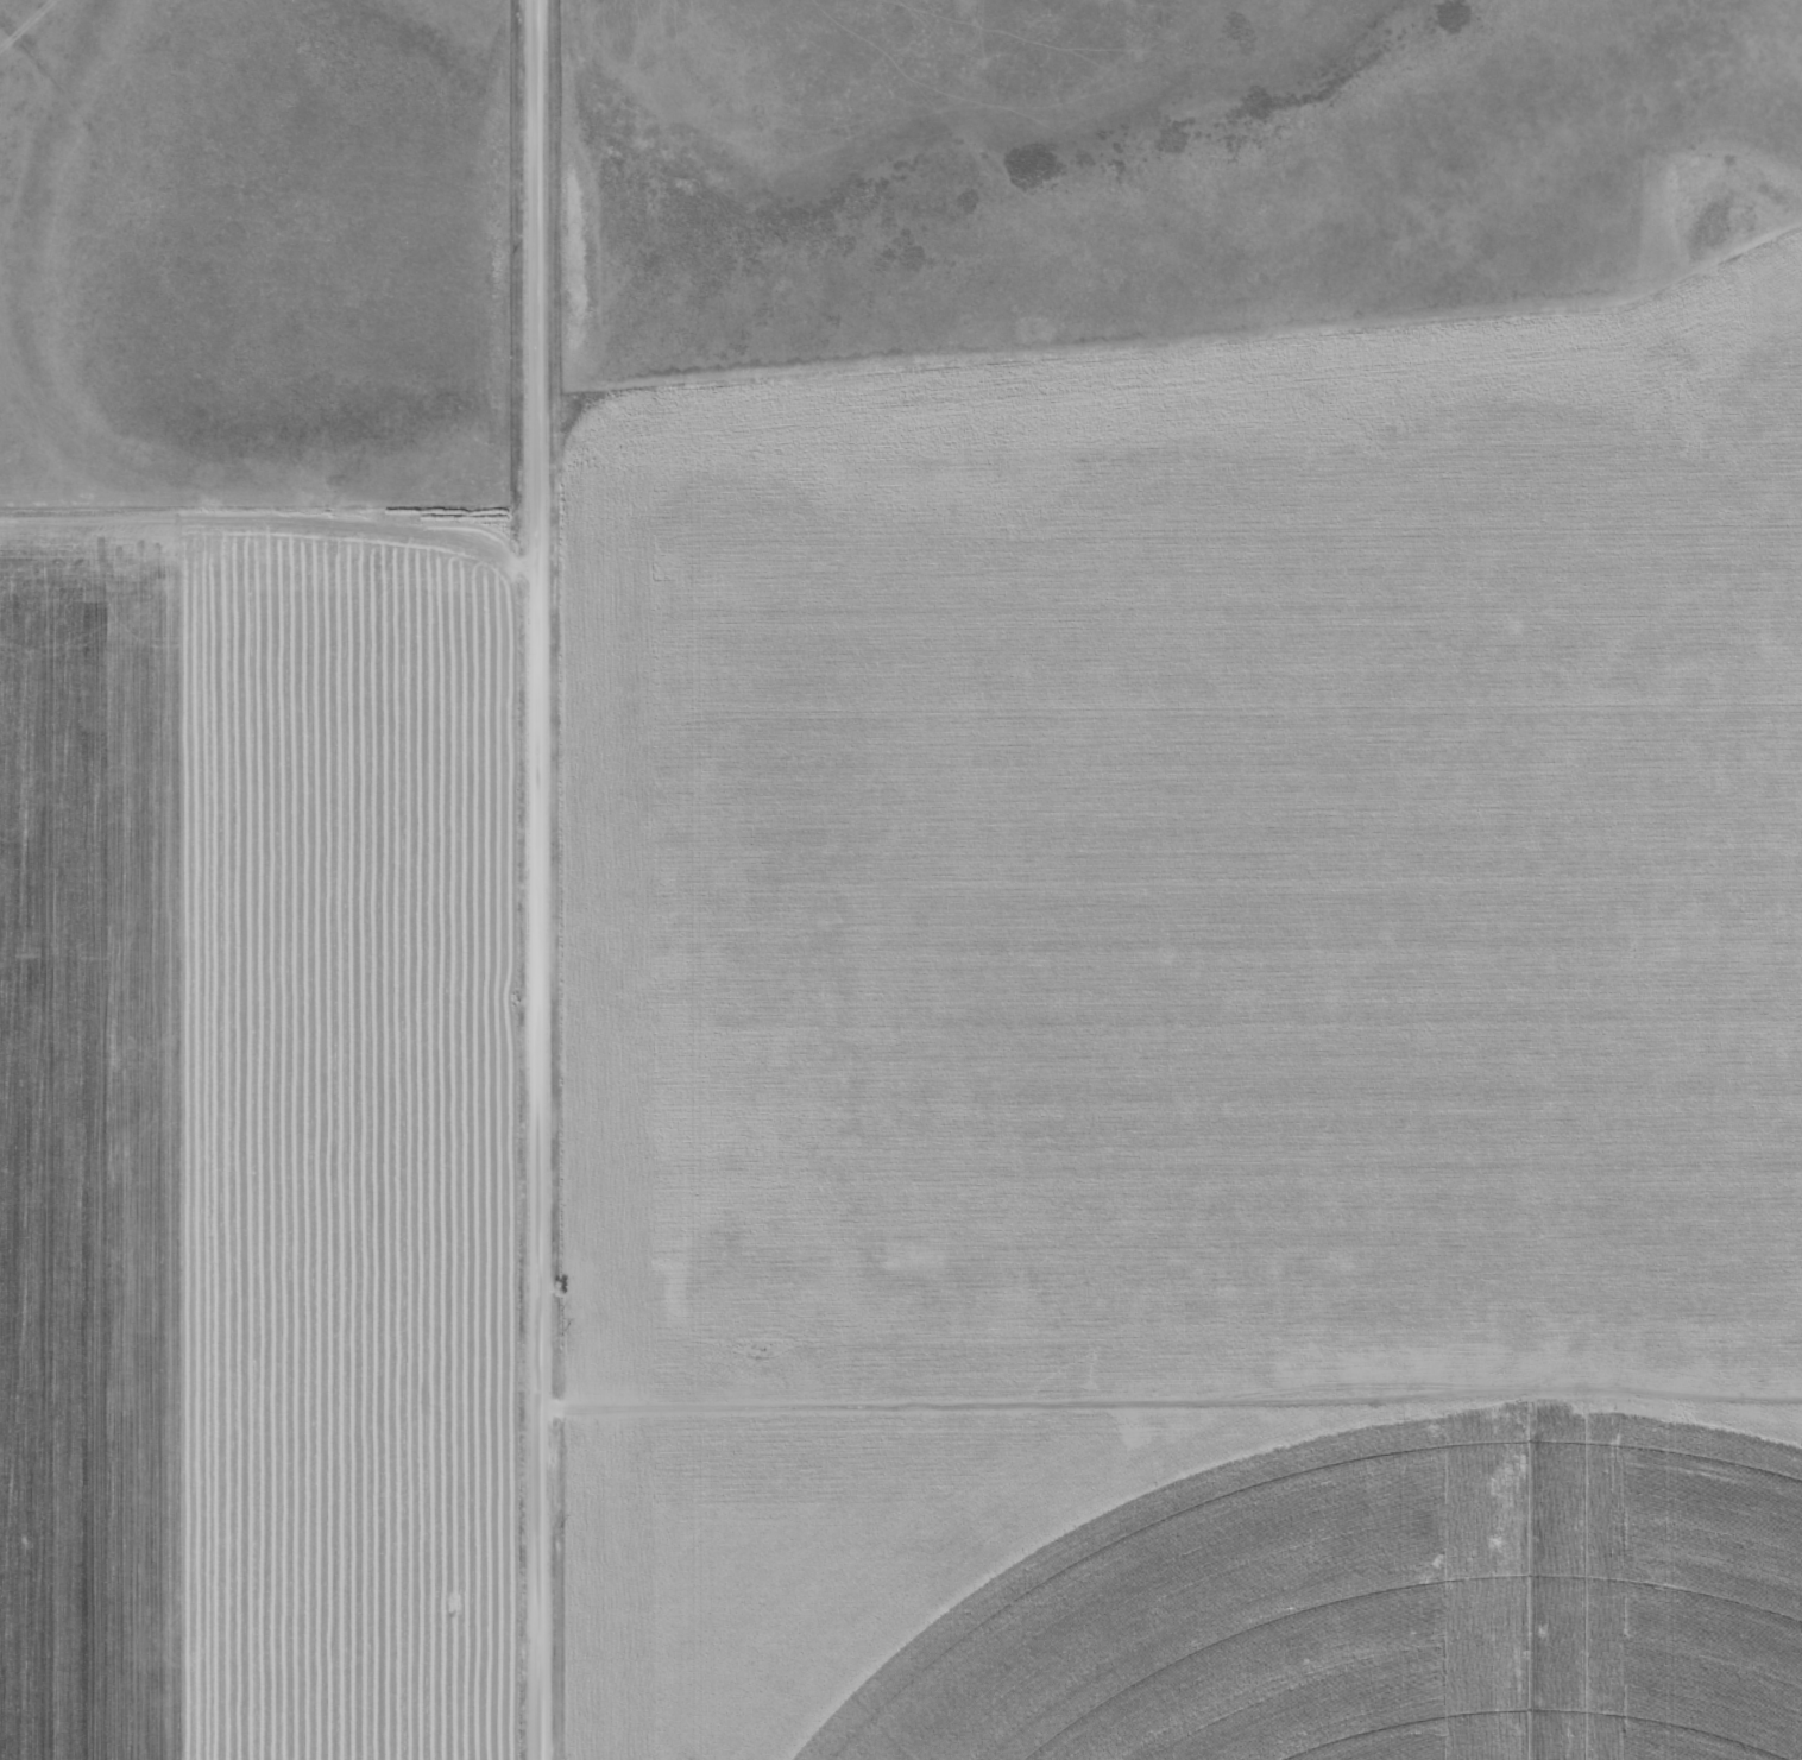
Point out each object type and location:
road: (543, 879)

